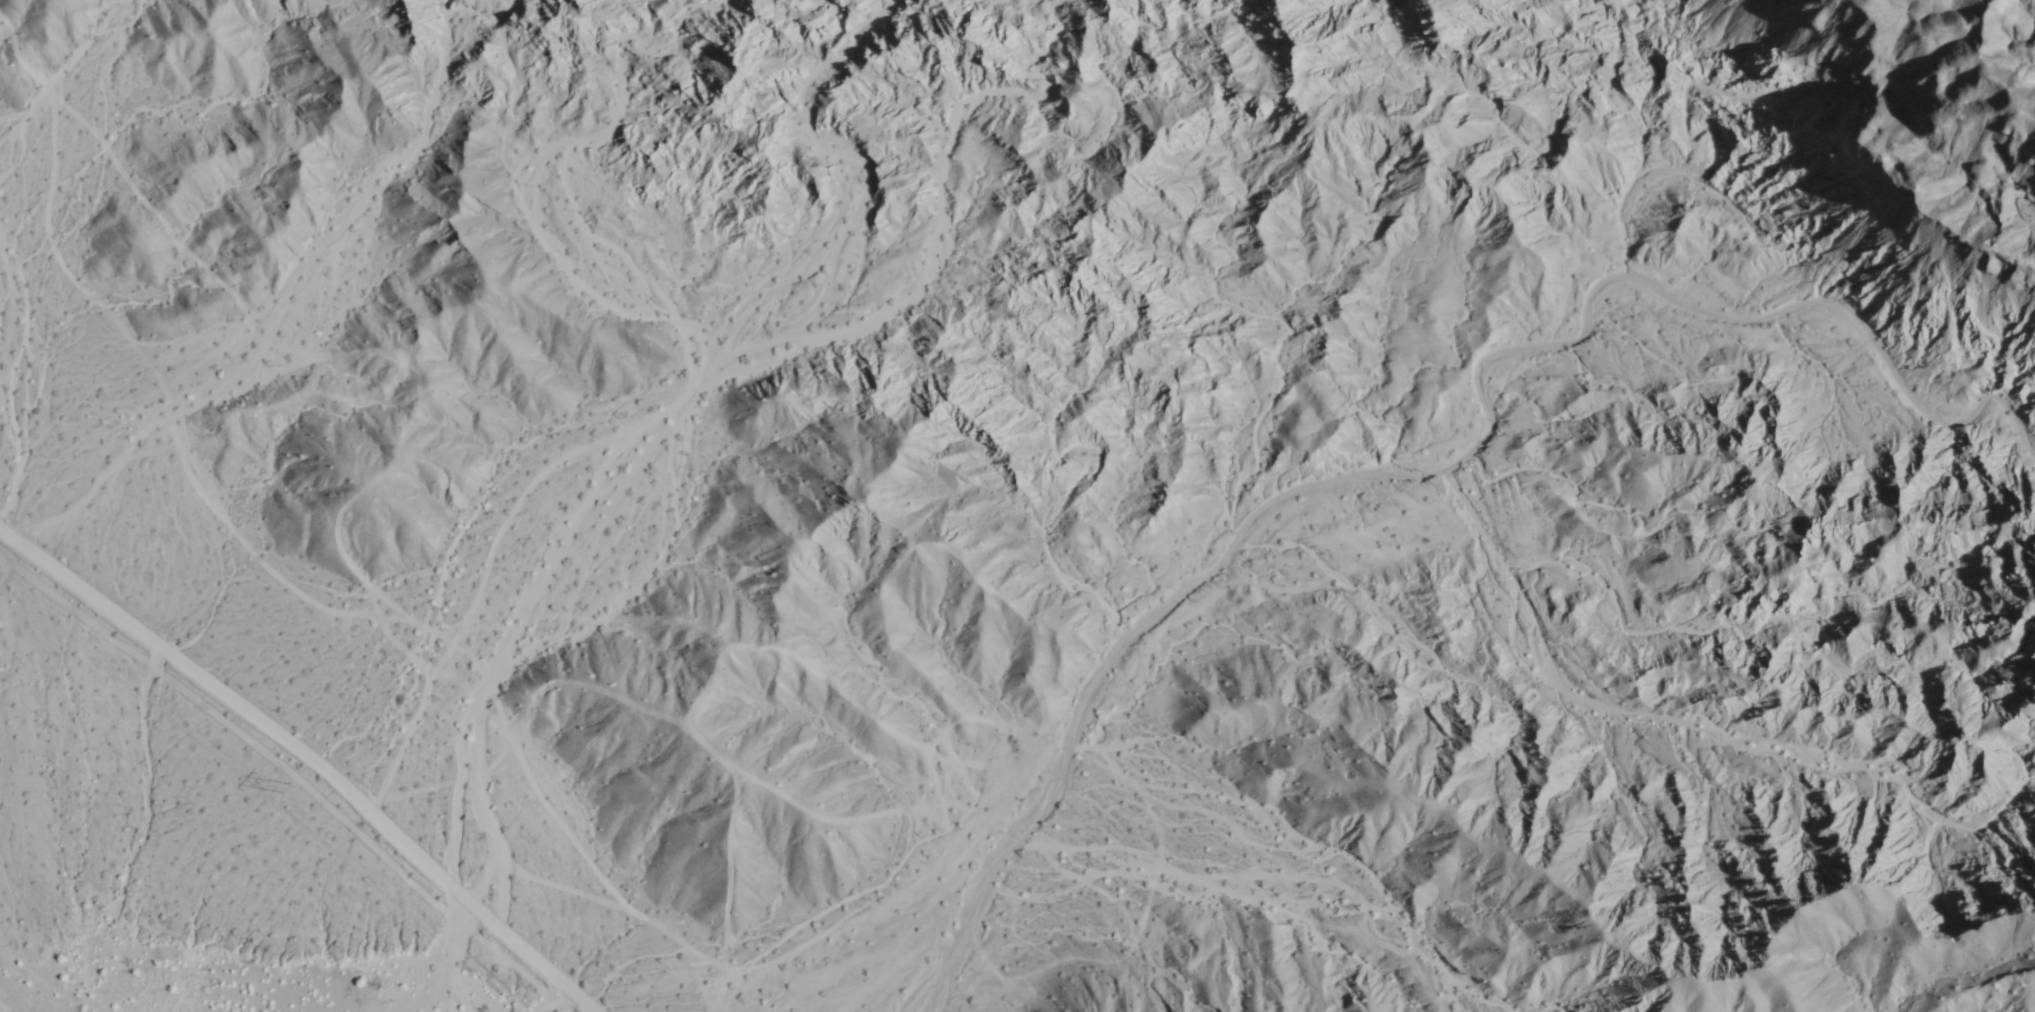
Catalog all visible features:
road: (307, 758)
power tower: (282, 792)

